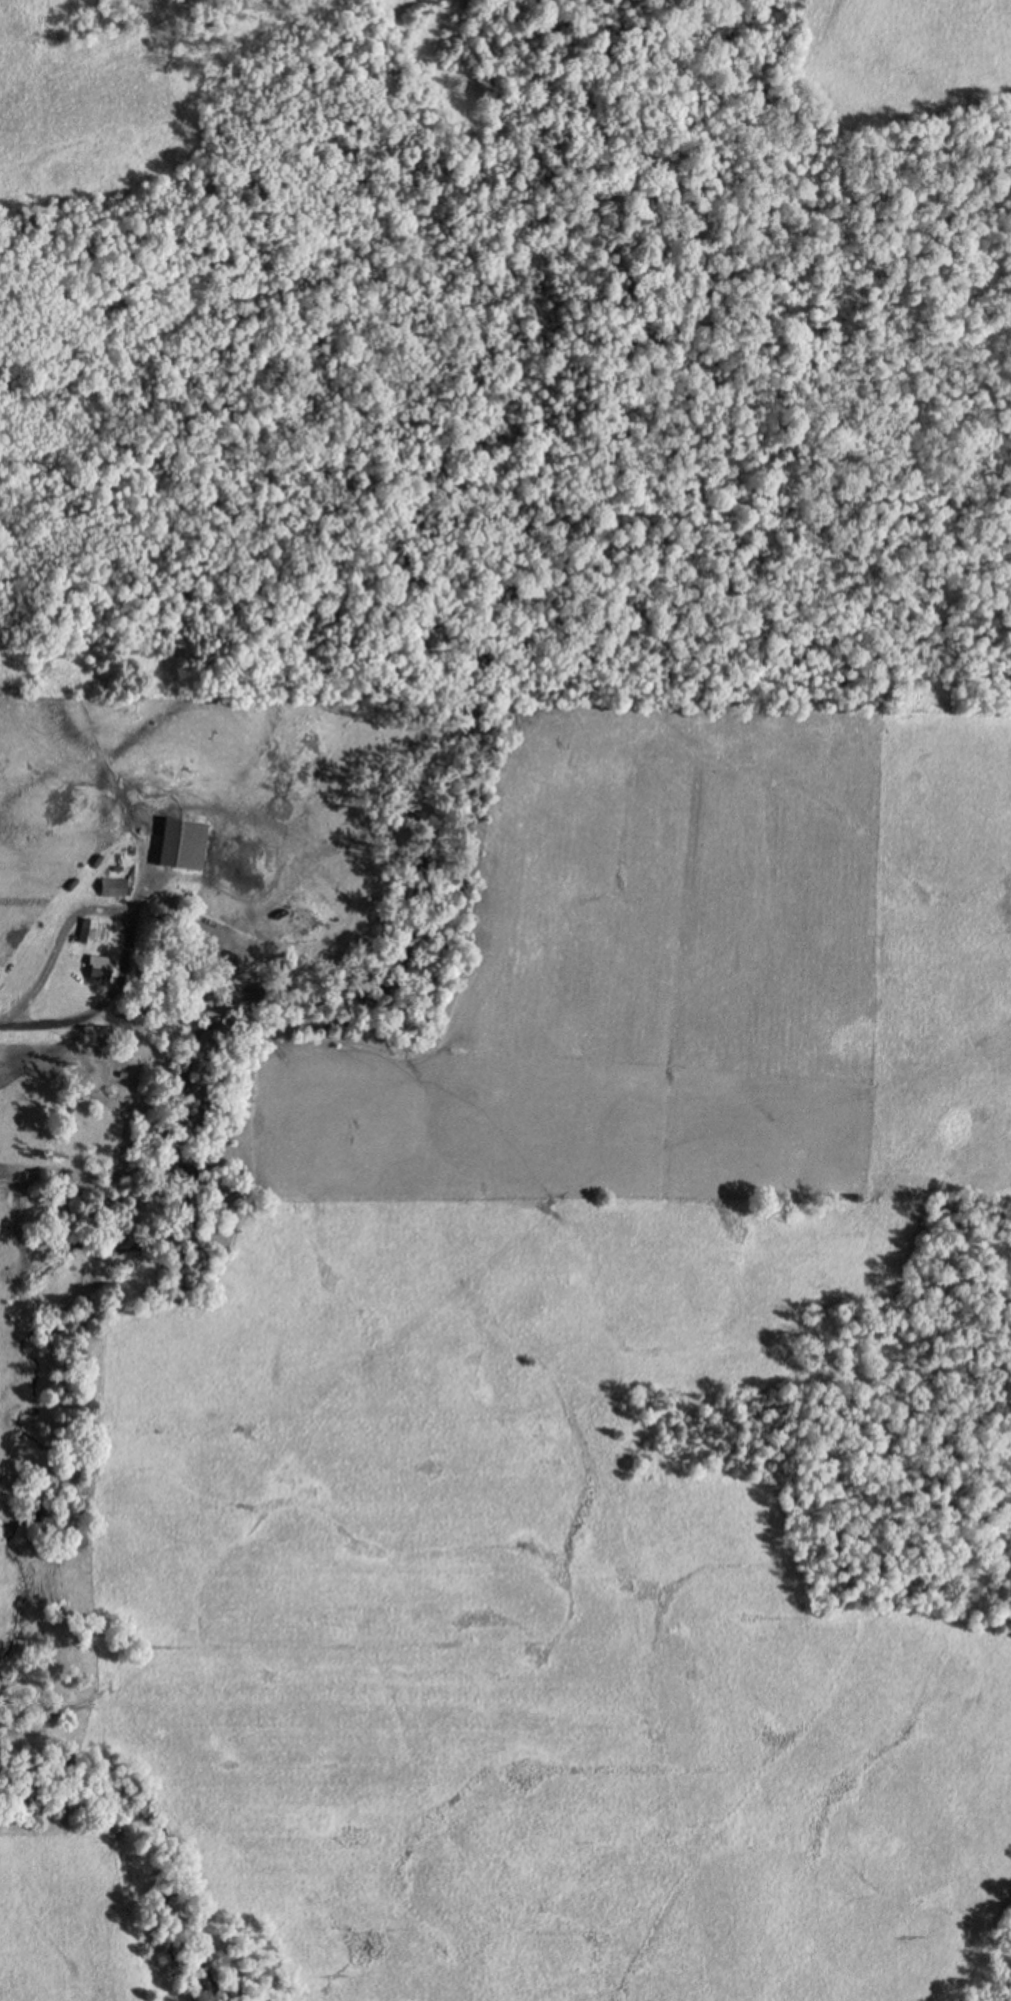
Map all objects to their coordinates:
building: (184, 846)
building: (114, 888)
building: (87, 933)
building: (100, 970)

